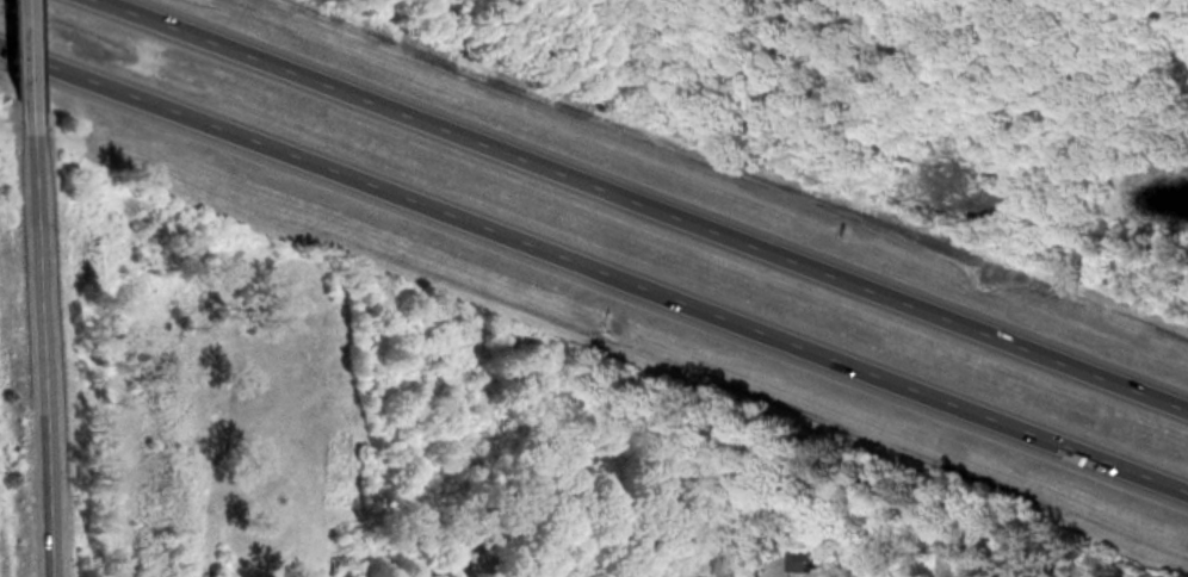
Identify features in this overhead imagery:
road: (24, 55)
road: (644, 204)
road: (594, 271)
road: (36, 343)
building: (802, 560)

